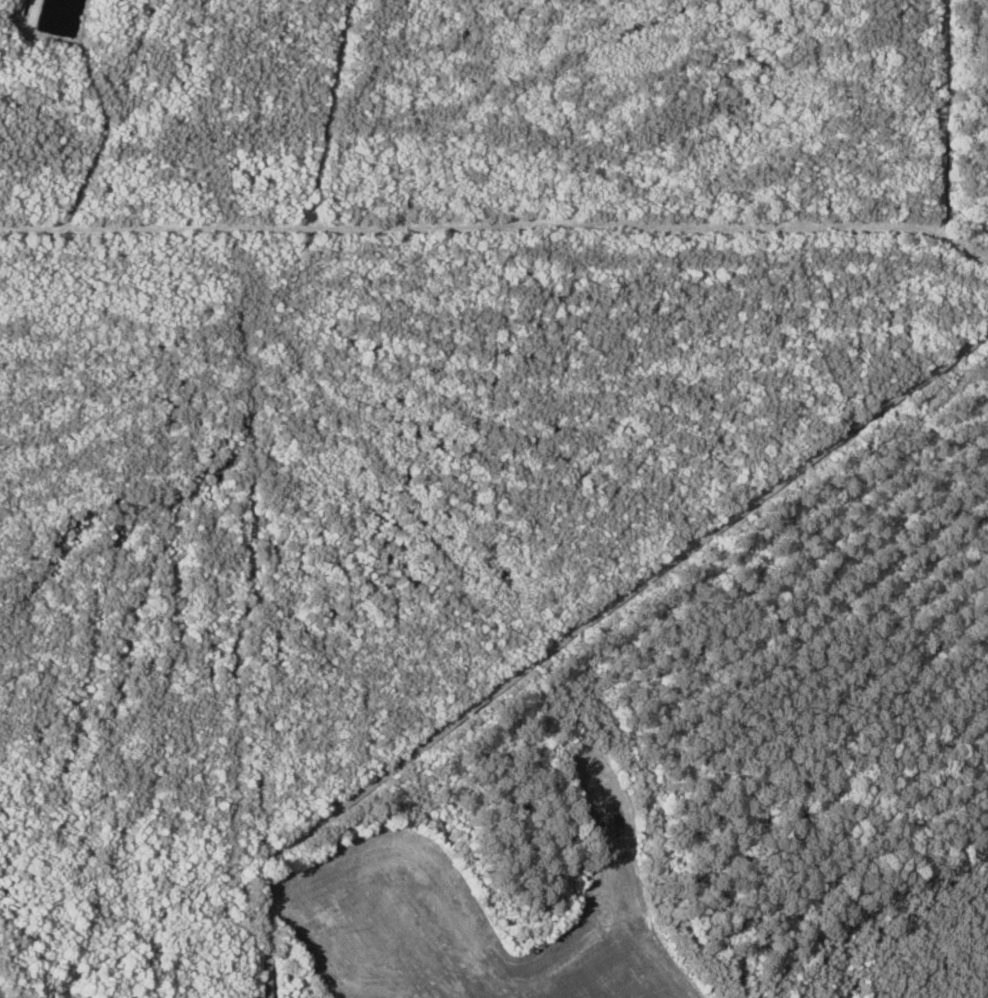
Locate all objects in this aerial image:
building: (17, 6)

